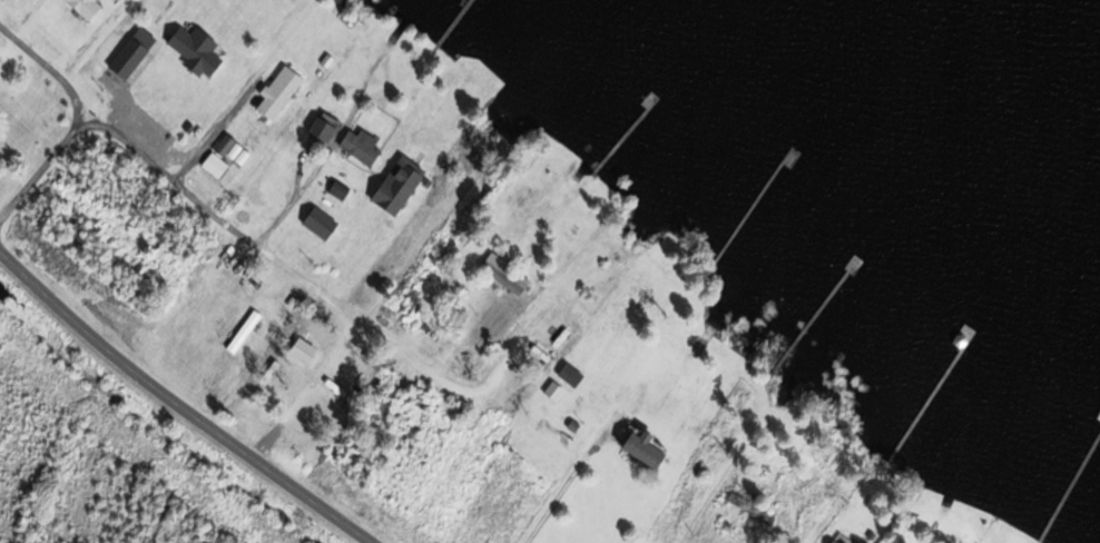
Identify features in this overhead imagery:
pier: (347, 3)
building: (84, 7)
pier: (448, 21)
building: (193, 45)
building: (127, 47)
building: (323, 57)
road: (52, 68)
building: (275, 87)
building: (318, 125)
road: (214, 129)
pier: (621, 132)
building: (220, 139)
building: (356, 141)
building: (210, 160)
road: (38, 172)
road: (170, 174)
building: (394, 181)
building: (334, 186)
road: (289, 195)
pier: (747, 204)
building: (316, 220)
building: (500, 269)
building: (529, 276)
pier: (811, 313)
road: (355, 317)
building: (242, 333)
building: (298, 346)
building: (564, 369)
building: (549, 385)
pier: (929, 392)
road: (181, 405)
building: (1097, 411)
building: (1098, 416)
building: (570, 421)
building: (637, 442)
pier: (1068, 478)
building: (746, 504)
building: (835, 542)

